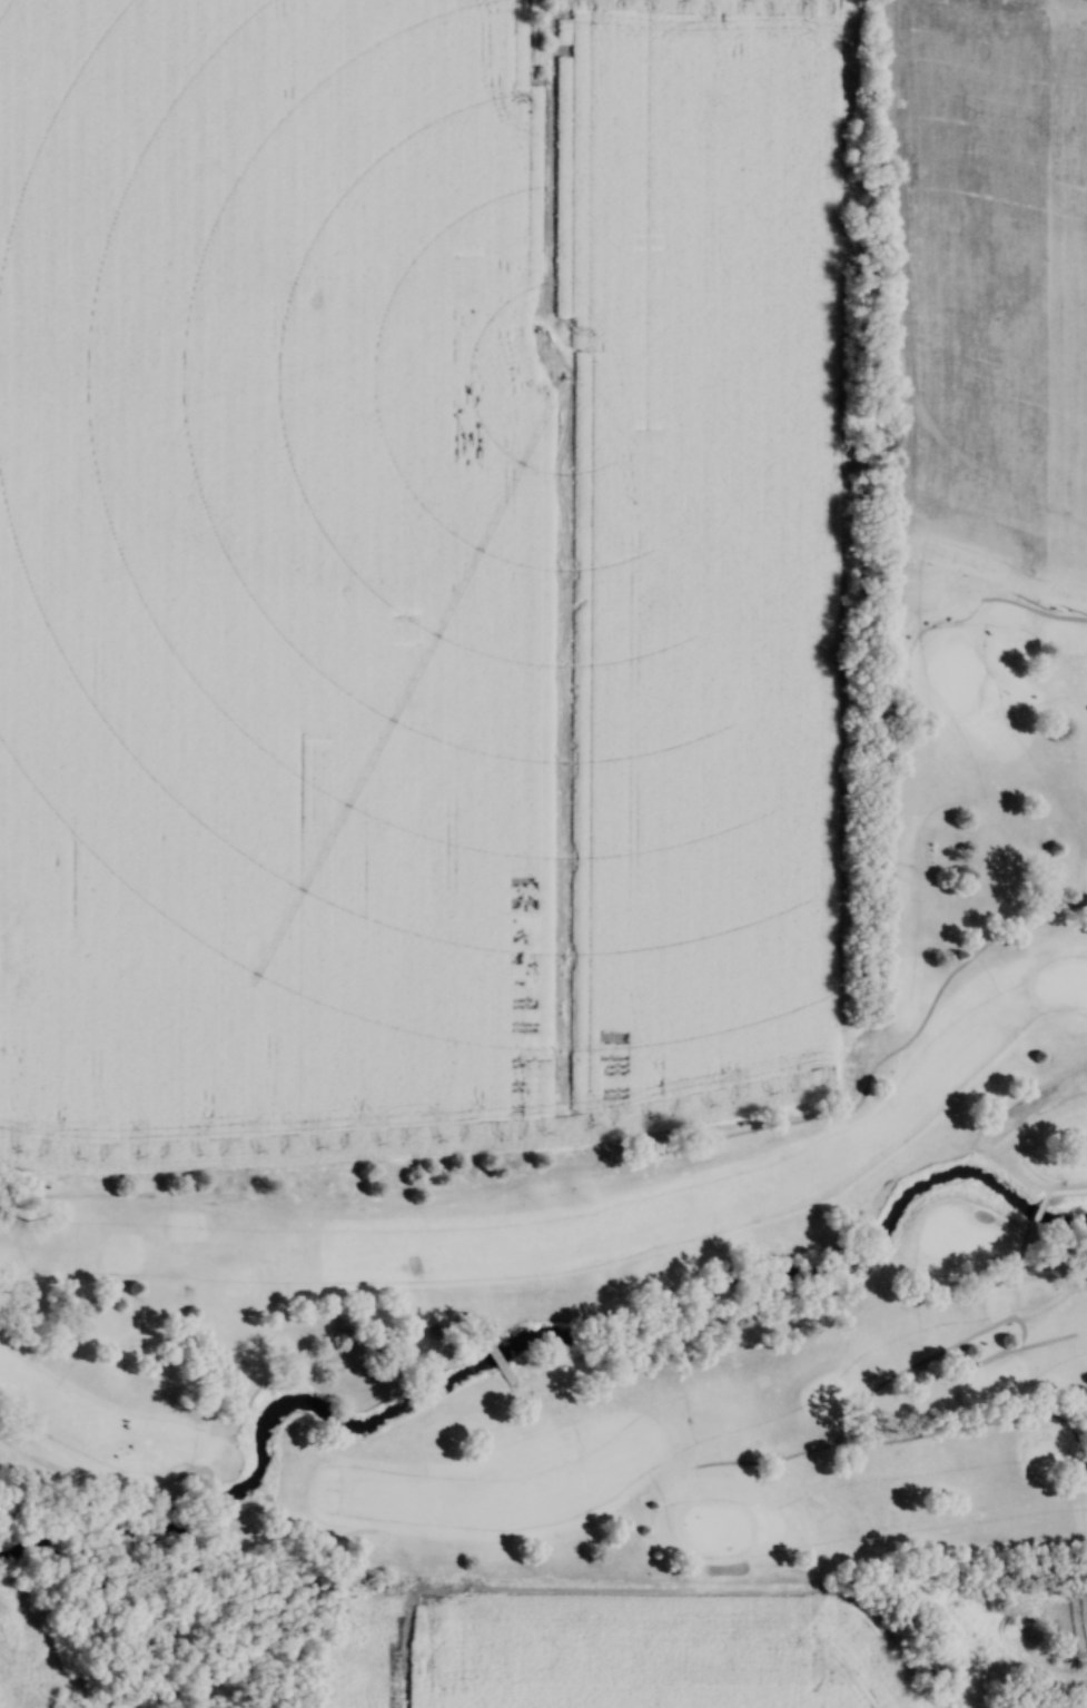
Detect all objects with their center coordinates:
crop: (999, 257)
road: (959, 611)
road: (888, 1049)
road: (108, 1182)
road: (1068, 1184)
road: (1038, 1205)
park: (662, 1224)
road: (1029, 1316)
road: (1015, 1337)
road: (504, 1349)
road: (892, 1371)
road: (969, 1414)
road: (83, 1471)
road: (207, 1493)
road: (275, 1517)

